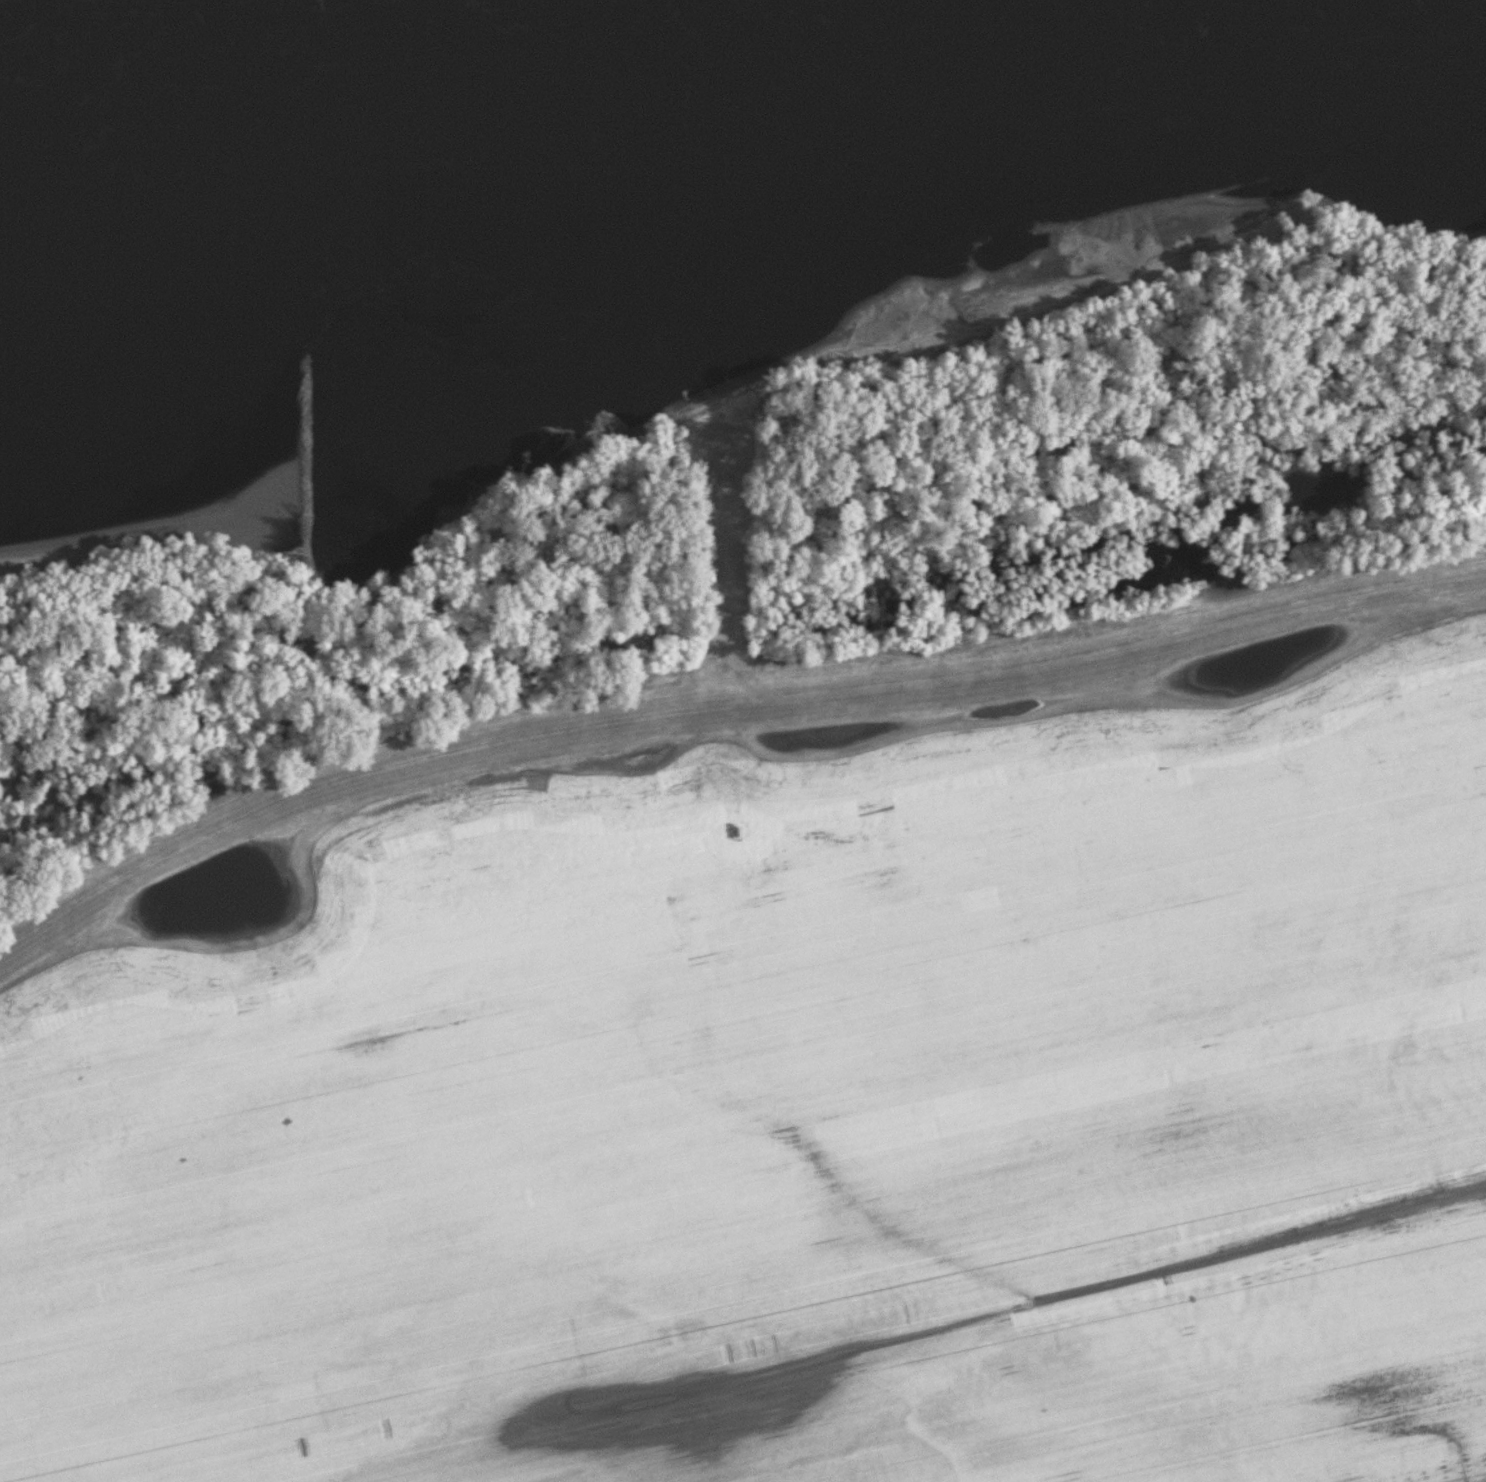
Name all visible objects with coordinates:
river: (213, 39)
crop: (802, 1121)

